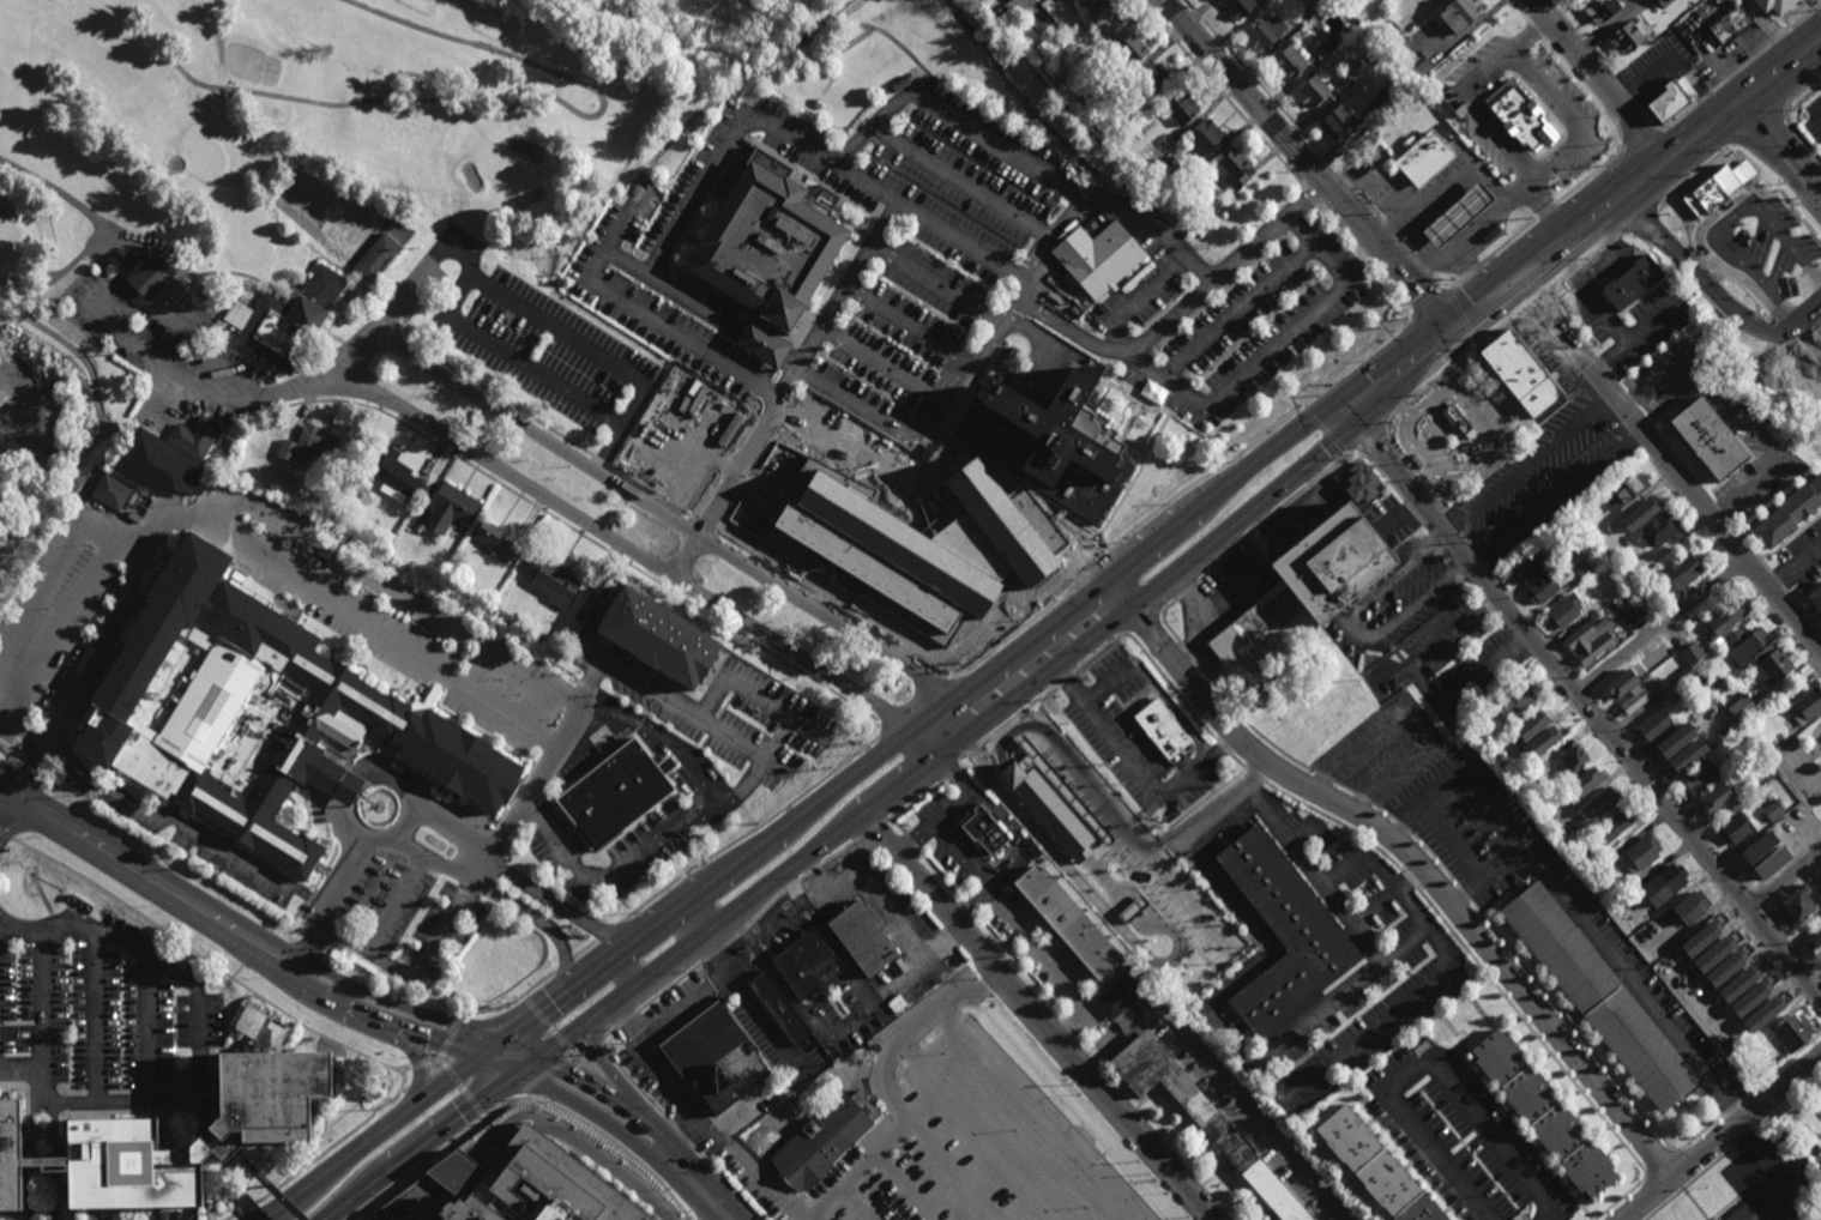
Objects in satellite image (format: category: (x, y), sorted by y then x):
building: (754, 1)
building: (1084, 2)
building: (1664, 2)
building: (1775, 5)
building: (1238, 7)
road: (1009, 8)
building: (1309, 10)
building: (1600, 12)
building: (1458, 17)
road: (1804, 18)
building: (1043, 19)
building: (1105, 20)
building: (1726, 26)
road: (1604, 28)
road: (1527, 32)
building: (1267, 34)
building: (1629, 36)
building: (1391, 37)
road: (1578, 37)
road: (1780, 38)
building: (1327, 47)
building: (1133, 50)
road: (1672, 56)
building: (1289, 65)
building: (1417, 66)
building: (1355, 70)
road: (1780, 70)
road: (1570, 72)
building: (1435, 76)
building: (1154, 81)
road: (1597, 86)
building: (1389, 87)
road: (1264, 90)
building: (1314, 92)
road: (1712, 92)
road: (1762, 92)
road: (1220, 93)
road: (1626, 93)
road: (1798, 93)
building: (1670, 96)
building: (1439, 101)
road: (523, 102)
building: (1087, 102)
road: (1475, 108)
building: (1182, 110)
building: (1520, 116)
road: (1646, 117)
road: (1574, 120)
building: (1338, 125)
road: (866, 129)
building: (1446, 131)
road: (1756, 131)
building: (1470, 135)
building: (1113, 137)
road: (1636, 137)
building: (1208, 139)
road: (1801, 141)
building: (1162, 146)
road: (1781, 149)
building: (1425, 161)
road: (1314, 169)
building: (1234, 170)
road: (1695, 176)
road: (965, 181)
road: (862, 182)
road: (1347, 187)
road: (1576, 187)
road: (1388, 194)
road: (61, 195)
road: (1313, 197)
road: (1542, 207)
road: (1367, 209)
building: (1459, 216)
gas station: (1459, 216)
park: (299, 217)
road: (884, 219)
road: (1641, 221)
road: (1476, 228)
road: (628, 230)
road: (1520, 231)
road: (1391, 235)
building: (768, 247)
road: (1051, 247)
road: (1424, 248)
road: (1404, 252)
road: (1495, 252)
building: (376, 255)
road: (1609, 258)
road: (1369, 259)
road: (1445, 260)
road: (1590, 260)
road: (1418, 267)
building: (1092, 270)
road: (1470, 272)
building: (150, 278)
parking lot: (941, 279)
road: (1435, 284)
road: (1453, 284)
road: (936, 285)
building: (1627, 285)
road: (1138, 297)
road: (346, 298)
road: (687, 300)
road: (1537, 301)
road: (1592, 301)
road: (1428, 303)
road: (0, 306)
road: (391, 310)
road: (529, 312)
road: (1240, 313)
traffic signals: (1445, 316)
building: (284, 319)
road: (1460, 319)
road: (909, 330)
road: (328, 333)
road: (1632, 336)
road: (1095, 337)
traffic signals: (1465, 338)
building: (762, 344)
road: (1278, 345)
road: (1479, 346)
road: (76, 351)
road: (146, 352)
road: (257, 361)
road: (518, 362)
road: (886, 369)
building: (1520, 372)
road: (363, 381)
road: (1435, 383)
road: (750, 386)
road: (784, 387)
road: (261, 388)
road: (488, 392)
road: (1417, 397)
traffic signals: (1340, 398)
road: (1401, 409)
road: (860, 411)
road: (1741, 415)
building: (1455, 416)
road: (1391, 419)
traffic signals: (1361, 422)
road: (1325, 431)
road: (1262, 435)
building: (195, 436)
building: (1708, 437)
road: (1367, 440)
building: (1045, 442)
building: (310, 445)
building: (665, 457)
road: (1404, 460)
road: (1664, 460)
road: (602, 461)
road: (1530, 464)
road: (1681, 465)
building: (157, 466)
building: (391, 470)
road: (1473, 473)
road: (1316, 477)
road: (67, 482)
building: (1358, 483)
road: (725, 490)
building: (1626, 490)
building: (113, 494)
road: (1555, 495)
road: (1440, 497)
road: (1418, 499)
building: (450, 511)
road: (1297, 511)
road: (79, 513)
building: (1790, 513)
building: (1627, 526)
road: (1270, 529)
building: (1660, 529)
road: (1250, 531)
road: (590, 538)
road: (92, 539)
road: (128, 539)
building: (494, 542)
building: (923, 543)
road: (1451, 556)
building: (1527, 566)
road: (1091, 567)
road: (1792, 567)
road: (1120, 570)
building: (1580, 570)
building: (1684, 570)
road: (780, 575)
road: (1309, 582)
building: (1307, 584)
building: (554, 586)
building: (1542, 590)
road: (402, 591)
road: (1151, 592)
building: (1815, 597)
building: (1600, 603)
building: (1624, 606)
building: (1648, 610)
building: (496, 612)
building: (1564, 612)
building: (1725, 618)
road: (1344, 621)
road: (1145, 624)
road: (1662, 627)
road: (1358, 629)
road: (59, 634)
road: (1013, 634)
road: (382, 636)
road: (108, 640)
building: (1590, 642)
building: (658, 644)
building: (1747, 648)
road: (1102, 651)
building: (1694, 654)
building: (480, 662)
road: (1549, 668)
building: (1771, 668)
building: (1686, 675)
building: (1753, 675)
road: (1066, 680)
building: (1622, 683)
road: (1421, 689)
building: (1701, 689)
building: (1639, 696)
road: (1580, 697)
building: (1511, 701)
building: (1804, 706)
road: (916, 708)
building: (1739, 711)
building: (253, 712)
road: (1025, 712)
road: (703, 721)
road: (951, 725)
building: (1653, 729)
building: (1160, 730)
building: (1544, 732)
building: (1676, 742)
road: (981, 743)
building: (1763, 744)
road: (963, 757)
building: (1688, 757)
building: (1572, 763)
park: (1803, 766)
road: (1136, 767)
park: (1798, 768)
road: (949, 772)
building: (1534, 773)
building: (1699, 778)
building: (1590, 781)
road: (346, 789)
building: (1079, 789)
road: (527, 793)
building: (615, 796)
building: (1716, 798)
road: (913, 801)
road: (7, 804)
building: (1604, 804)
building: (1054, 805)
road: (951, 810)
building: (1773, 813)
road: (161, 814)
building: (1552, 822)
building: (1620, 825)
building: (1732, 825)
road: (411, 826)
road: (1442, 827)
road: (677, 828)
road: (870, 829)
road: (1011, 829)
building: (982, 831)
road: (750, 833)
road: (5, 837)
building: (1759, 847)
road: (961, 848)
building: (1640, 852)
road: (1411, 854)
building: (1773, 863)
road: (1312, 866)
road: (145, 874)
road: (844, 876)
road: (1785, 876)
road: (515, 880)
building: (1664, 881)
road: (791, 884)
road: (500, 898)
road: (975, 898)
building: (1792, 901)
road: (327, 904)
road: (393, 904)
building: (1693, 906)
road: (1105, 907)
road: (1356, 919)
road: (293, 920)
building: (1069, 922)
road: (685, 923)
road: (899, 928)
road: (608, 931)
building: (863, 935)
building: (1702, 937)
building: (1284, 938)
building: (1815, 942)
road: (1036, 944)
road: (255, 947)
road: (585, 949)
road: (717, 952)
road: (1606, 952)
building: (1716, 954)
road: (207, 960)
building: (808, 961)
road: (565, 962)
road: (628, 965)
road: (1210, 966)
building: (1726, 967)
road: (412, 972)
building: (1134, 972)
road: (943, 973)
building: (1739, 983)
road: (224, 986)
road: (669, 989)
building: (1599, 995)
road: (1338, 996)
building: (1118, 997)
building: (1751, 997)
road: (513, 999)
road: (393, 1002)
road: (752, 1003)
road: (40, 1004)
building: (779, 1005)
building: (1763, 1014)
road: (98, 1016)
road: (380, 1016)
road: (1039, 1017)
parking lot: (104, 1020)
road: (625, 1020)
road: (1073, 1021)
road: (852, 1023)
road: (548, 1025)
building: (1790, 1031)
road: (450, 1035)
road: (605, 1037)
road: (201, 1038)
traffic signals: (496, 1038)
road: (147, 1043)
road: (488, 1044)
building: (1726, 1045)
road: (520, 1049)
road: (593, 1050)
traffic signals: (480, 1051)
building: (705, 1052)
road: (580, 1053)
road: (417, 1059)
traffic signals: (544, 1061)
road: (658, 1062)
road: (434, 1063)
road: (502, 1063)
road: (603, 1063)
road: (1421, 1067)
road: (417, 1071)
traffic signals: (525, 1075)
road: (544, 1075)
road: (1222, 1077)
building: (182, 1086)
road: (466, 1086)
road: (639, 1087)
road: (1280, 1097)
road: (615, 1098)
building: (1543, 1112)
road: (597, 1115)
building: (1201, 1117)
building: (254, 1135)
road: (1719, 1136)
road: (374, 1137)
road: (432, 1137)
road: (685, 1137)
road: (689, 1137)
building: (821, 1142)
road: (571, 1144)
road: (611, 1146)
road: (324, 1154)
building: (11, 1156)
road: (434, 1158)
road: (43, 1160)
road: (34, 1161)
road: (50, 1161)
helipad: (126, 1162)
building: (1819, 1165)
building: (1373, 1166)
road: (458, 1172)
road: (728, 1184)
building: (524, 1185)
road: (266, 1186)
road: (699, 1188)
road: (435, 1192)
road: (416, 1210)
building: (1739, 1213)
road: (718, 1215)

